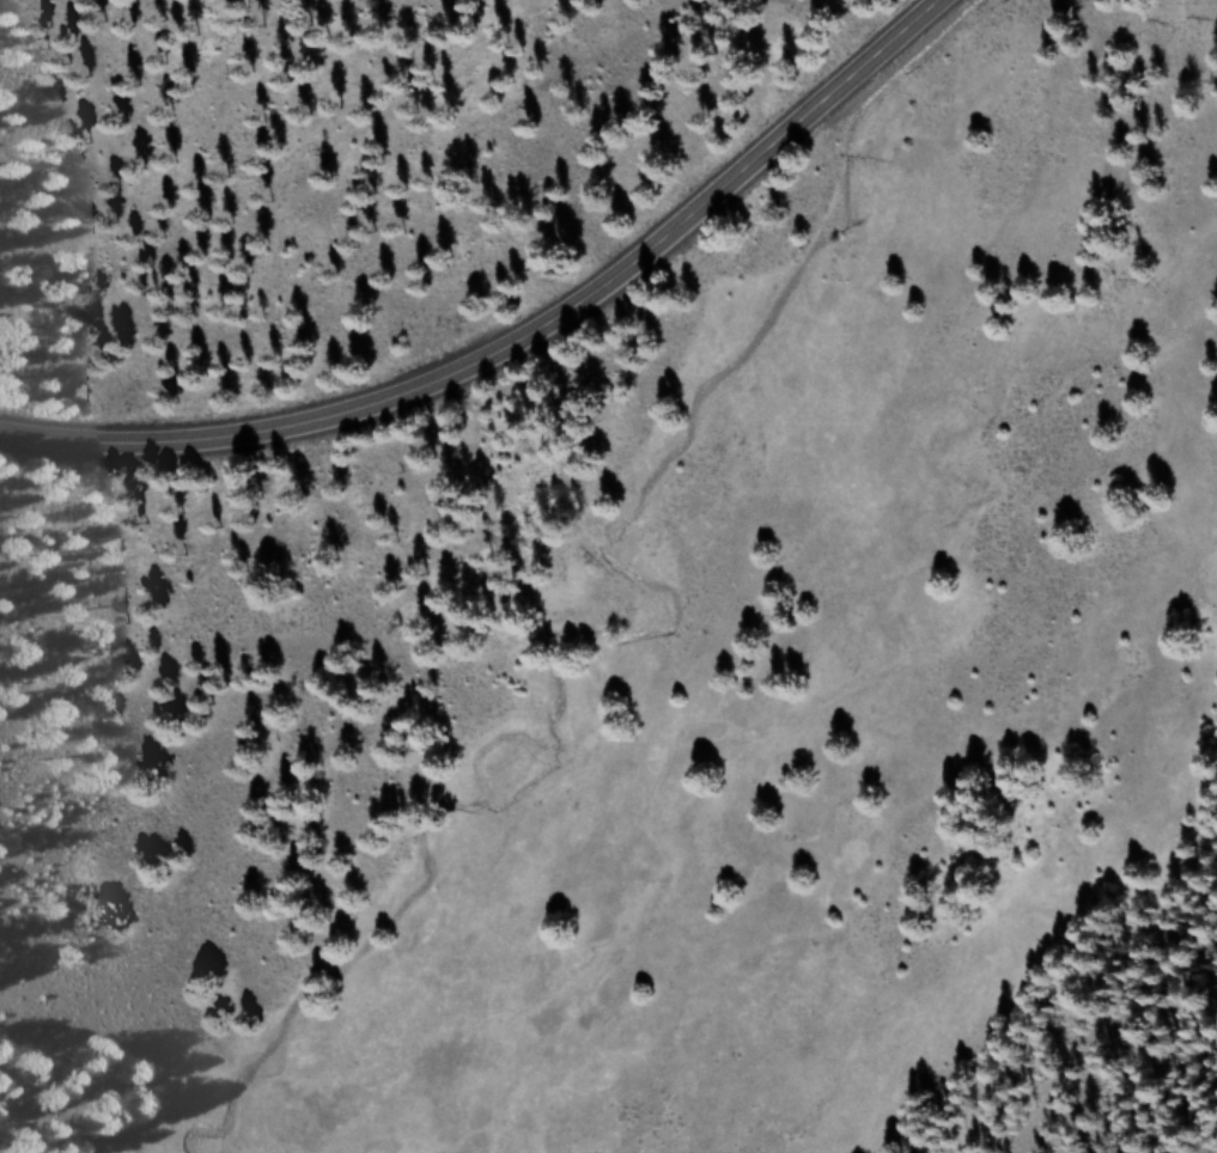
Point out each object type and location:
road: (518, 336)

